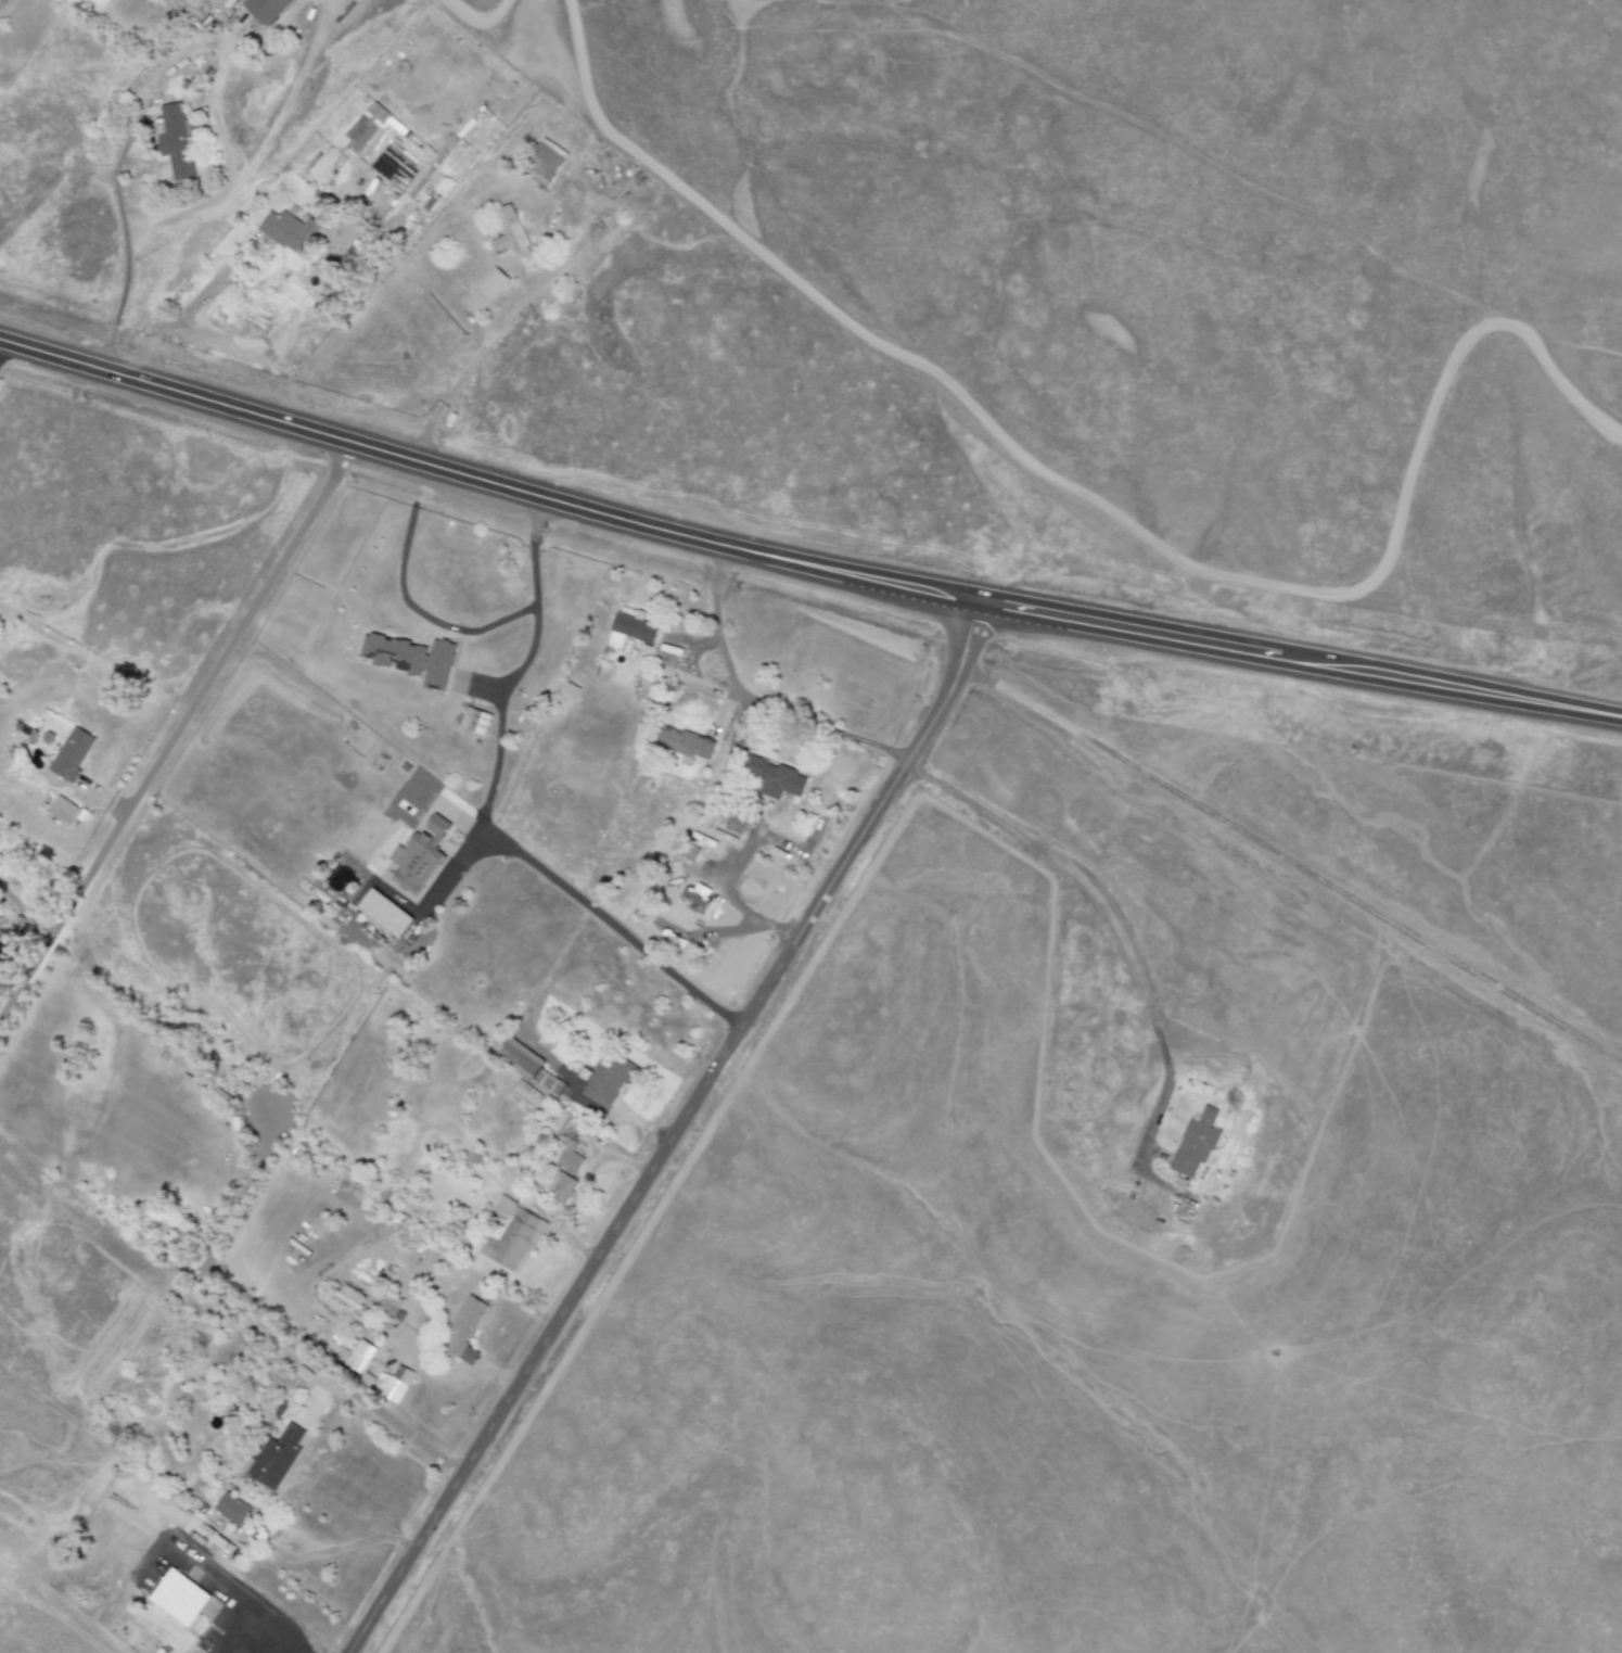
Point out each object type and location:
road: (5, 7)
building: (266, 9)
building: (368, 129)
building: (176, 141)
building: (545, 163)
building: (288, 231)
building: (510, 234)
road: (124, 238)
building: (486, 291)
road: (207, 328)
road: (495, 332)
road: (3, 344)
road: (800, 576)
road: (412, 603)
building: (630, 630)
building: (644, 653)
building: (411, 658)
building: (569, 691)
road: (754, 701)
building: (475, 721)
road: (174, 734)
building: (685, 745)
building: (71, 754)
building: (774, 778)
building: (63, 811)
road: (485, 823)
building: (735, 823)
building: (414, 860)
building: (694, 901)
road: (24, 911)
road: (743, 912)
building: (385, 913)
road: (1109, 913)
building: (528, 1065)
building: (608, 1080)
building: (524, 1096)
road: (669, 1139)
building: (1195, 1144)
building: (569, 1160)
building: (561, 1187)
building: (511, 1235)
building: (348, 1297)
building: (392, 1307)
building: (463, 1331)
building: (360, 1356)
road: (331, 1373)
building: (303, 1374)
building: (395, 1384)
building: (277, 1458)
building: (232, 1509)
road: (317, 1552)
road: (210, 1574)
building: (178, 1599)
road: (257, 1638)

